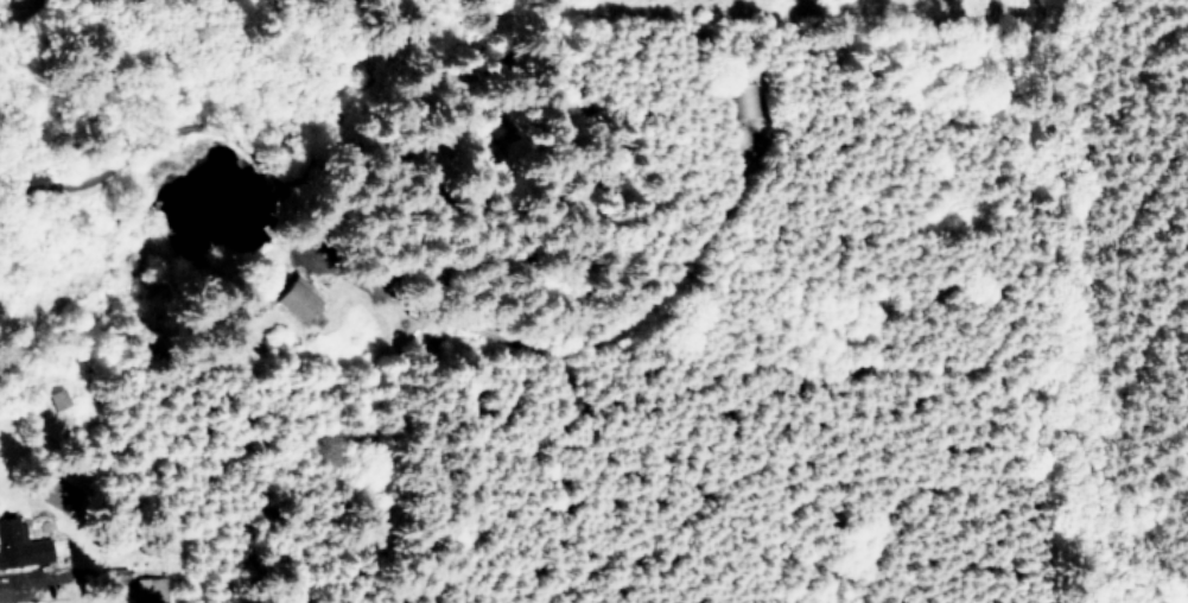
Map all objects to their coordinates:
building: (20, 546)
building: (155, 592)

